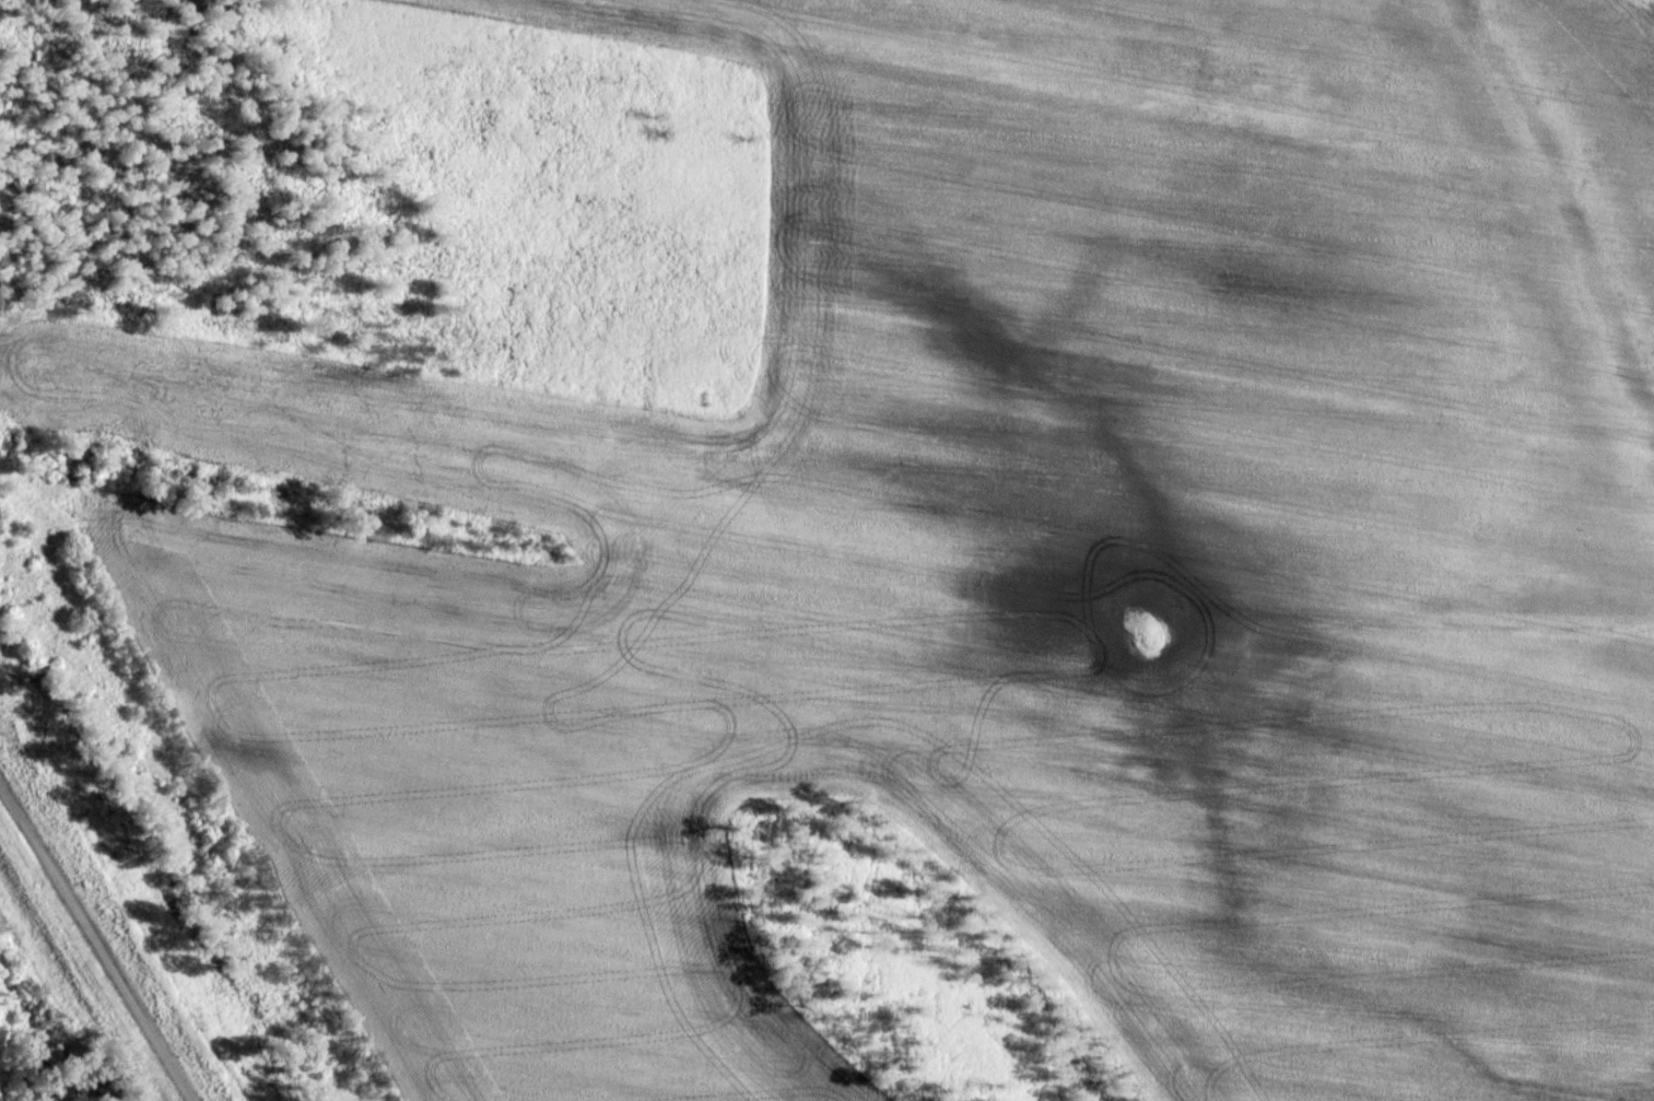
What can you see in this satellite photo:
road: (94, 945)

